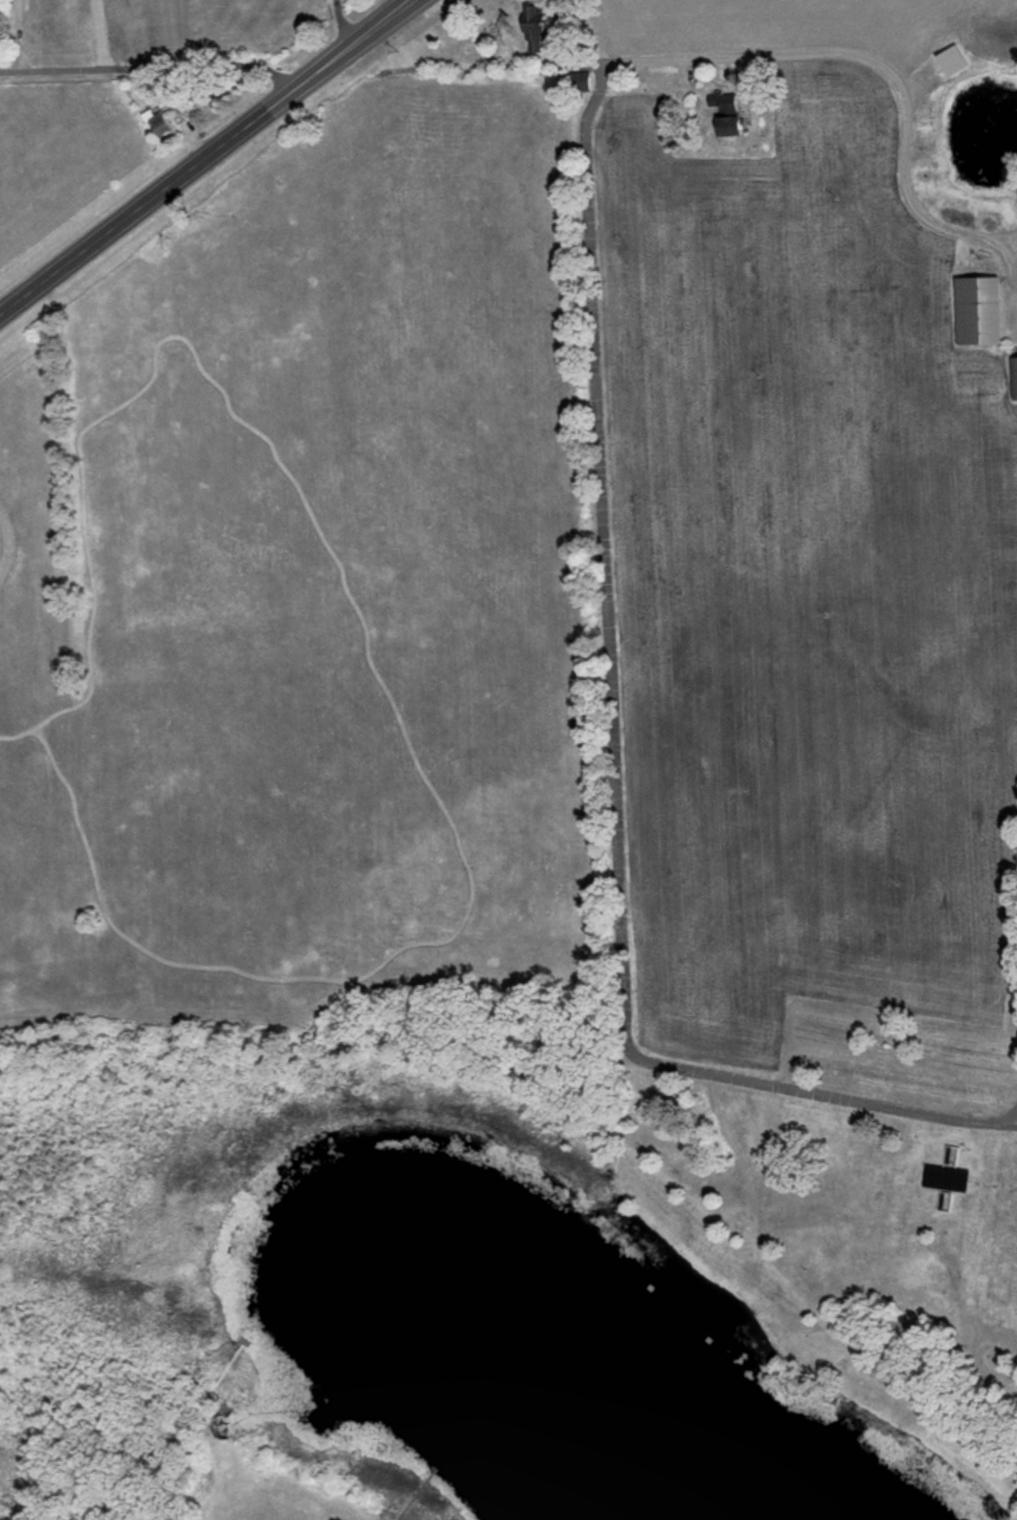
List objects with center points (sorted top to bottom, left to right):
road: (390, 19)
road: (342, 24)
building: (534, 29)
road: (98, 35)
road: (359, 43)
road: (877, 58)
building: (951, 61)
road: (150, 68)
road: (323, 68)
building: (580, 81)
building: (726, 113)
building: (158, 124)
road: (147, 202)
building: (978, 311)
building: (1014, 377)
crop: (809, 582)
park: (291, 648)
road: (614, 702)
road: (1008, 1116)
building: (947, 1179)
road: (1011, 1376)
pier: (418, 1493)

